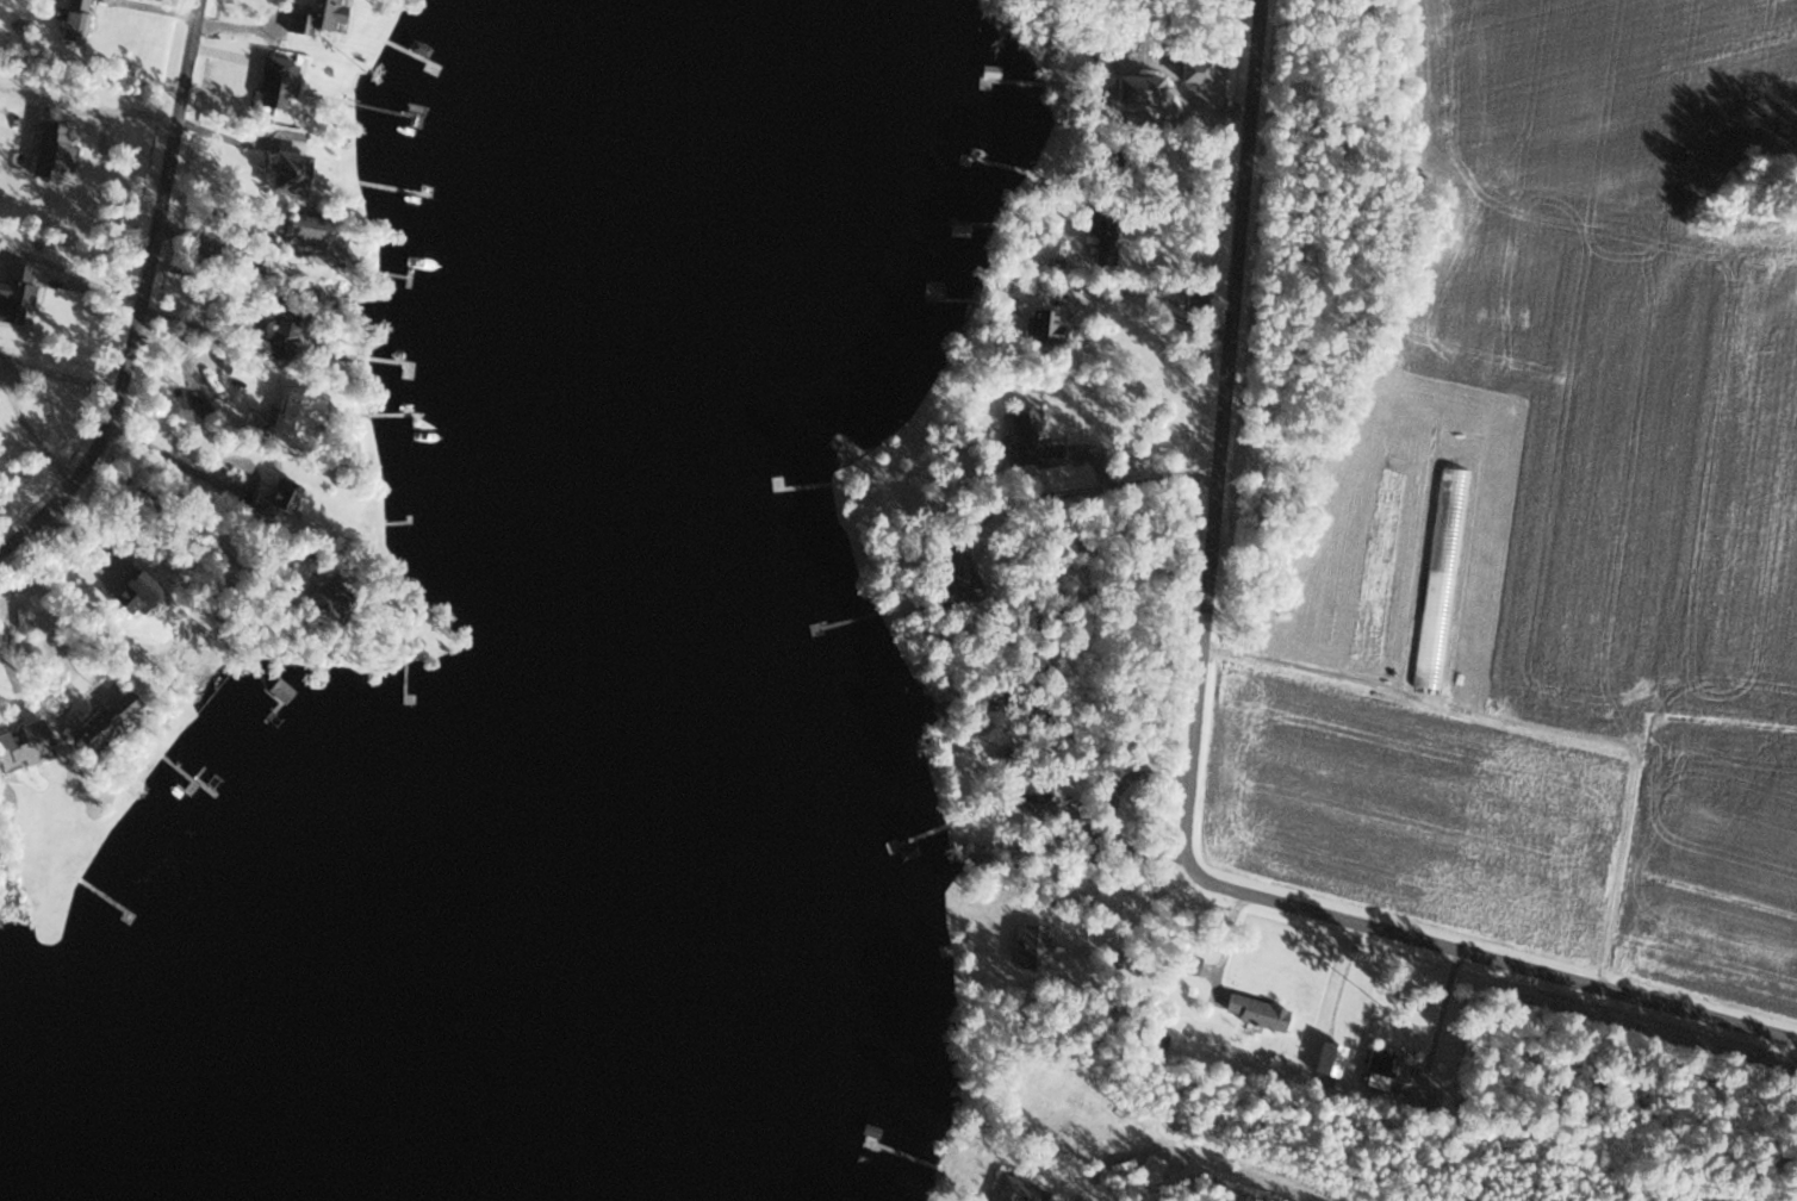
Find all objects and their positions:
building: (321, 18)
building: (71, 20)
building: (988, 71)
building: (1190, 73)
building: (281, 83)
building: (1131, 89)
building: (50, 149)
building: (286, 172)
building: (304, 230)
building: (1096, 239)
building: (14, 292)
road: (142, 299)
building: (1039, 324)
building: (285, 334)
road: (199, 362)
road: (10, 386)
building: (291, 417)
road: (175, 459)
road: (1083, 489)
building: (290, 500)
building: (1440, 577)
building: (135, 593)
road: (1301, 661)
building: (278, 690)
road: (1189, 748)
building: (1020, 939)
building: (1187, 963)
building: (1255, 1012)
road: (1435, 1016)
building: (1327, 1059)
building: (1383, 1071)
building: (1002, 1193)

